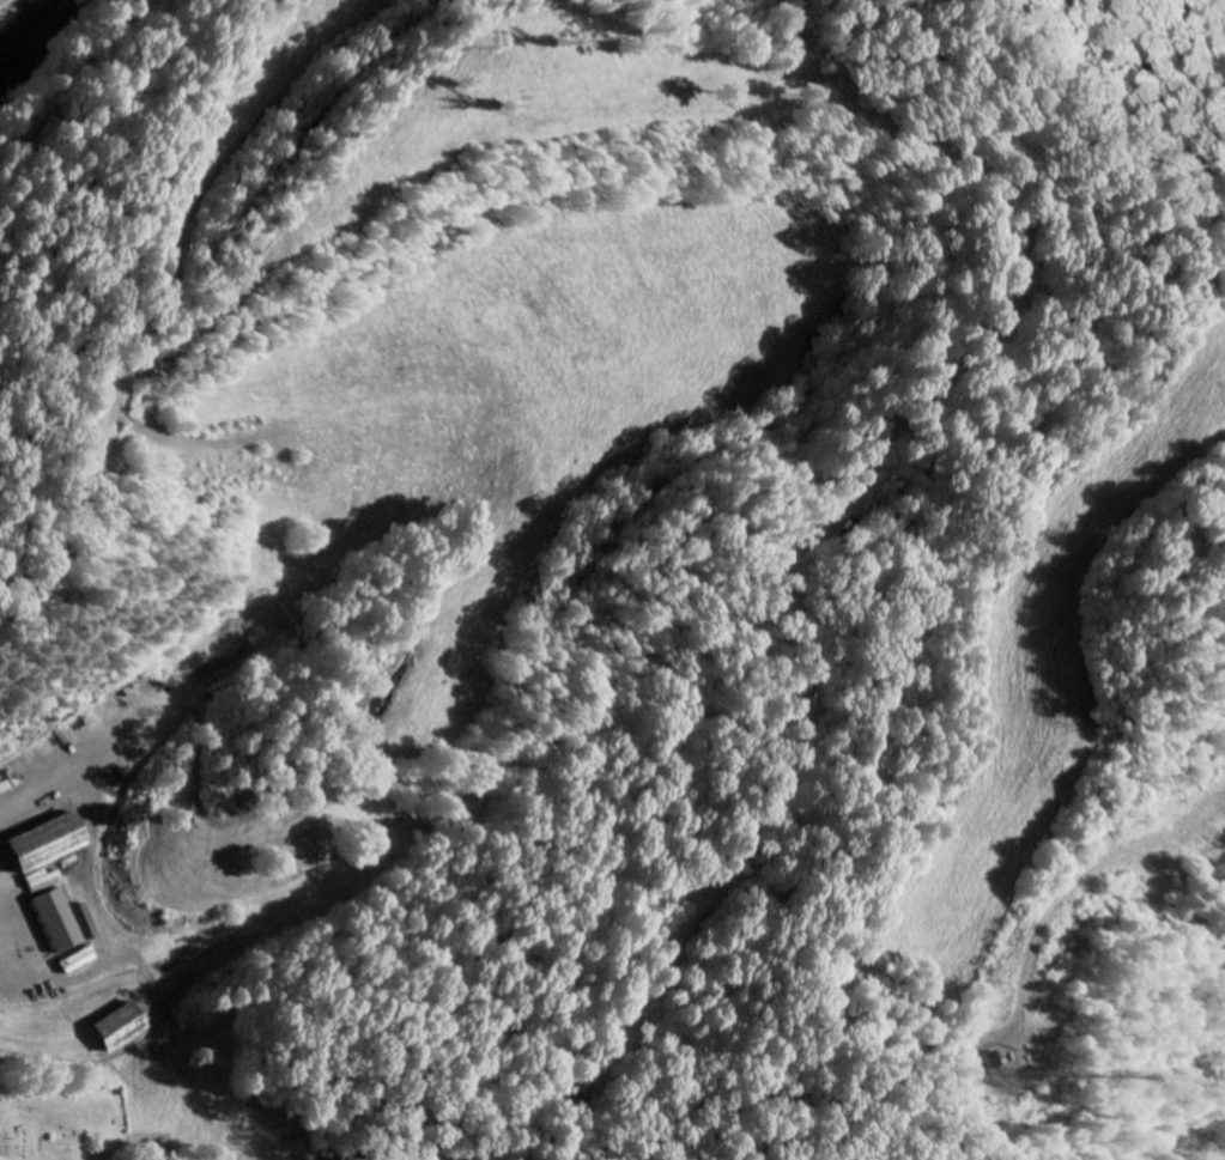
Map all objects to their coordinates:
building: (49, 843)
building: (59, 921)
building: (120, 1028)
park: (63, 1120)

